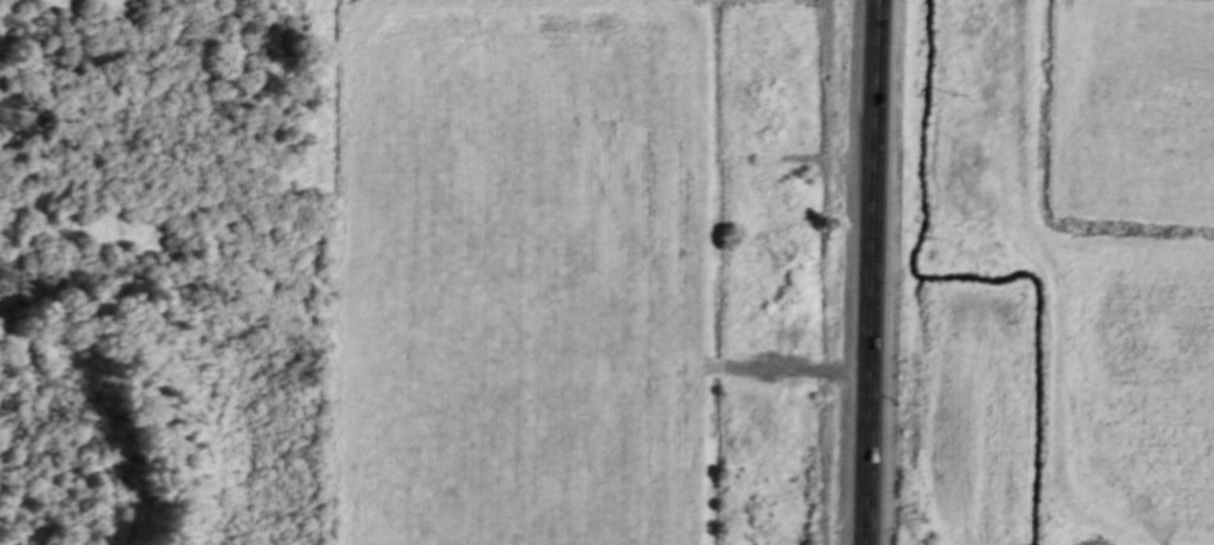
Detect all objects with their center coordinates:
road: (867, 271)

